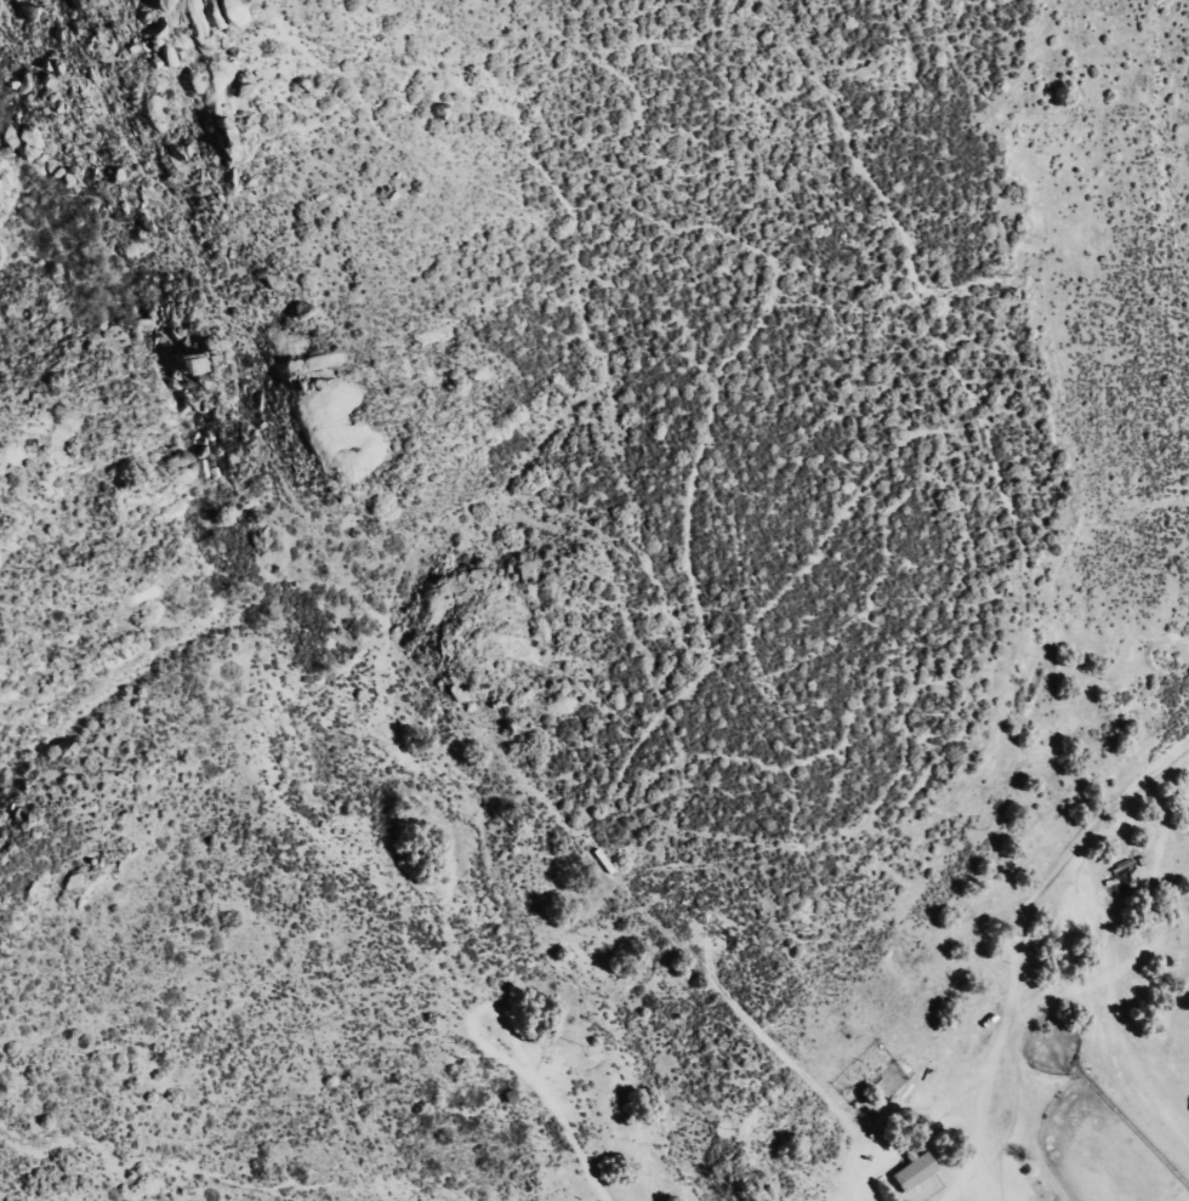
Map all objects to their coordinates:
building: (914, 1172)

